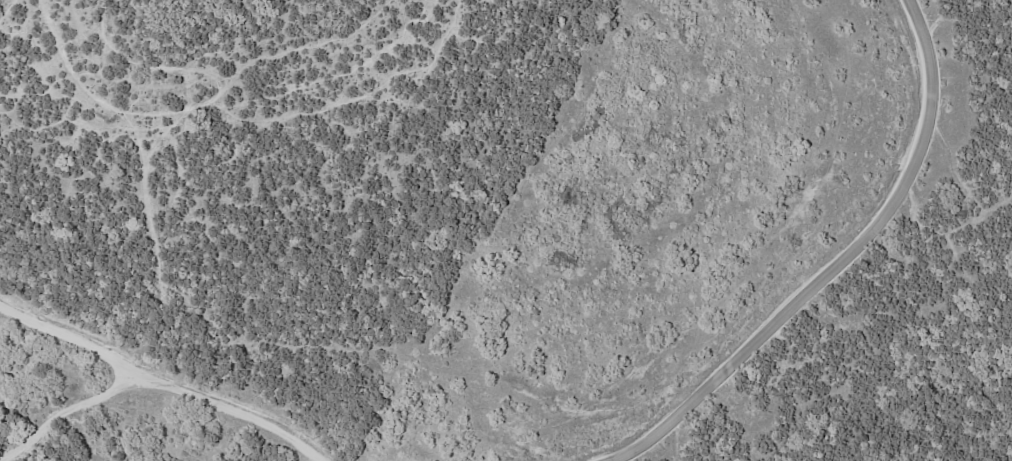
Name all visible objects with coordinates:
road: (839, 266)
road: (161, 385)
road: (51, 401)

